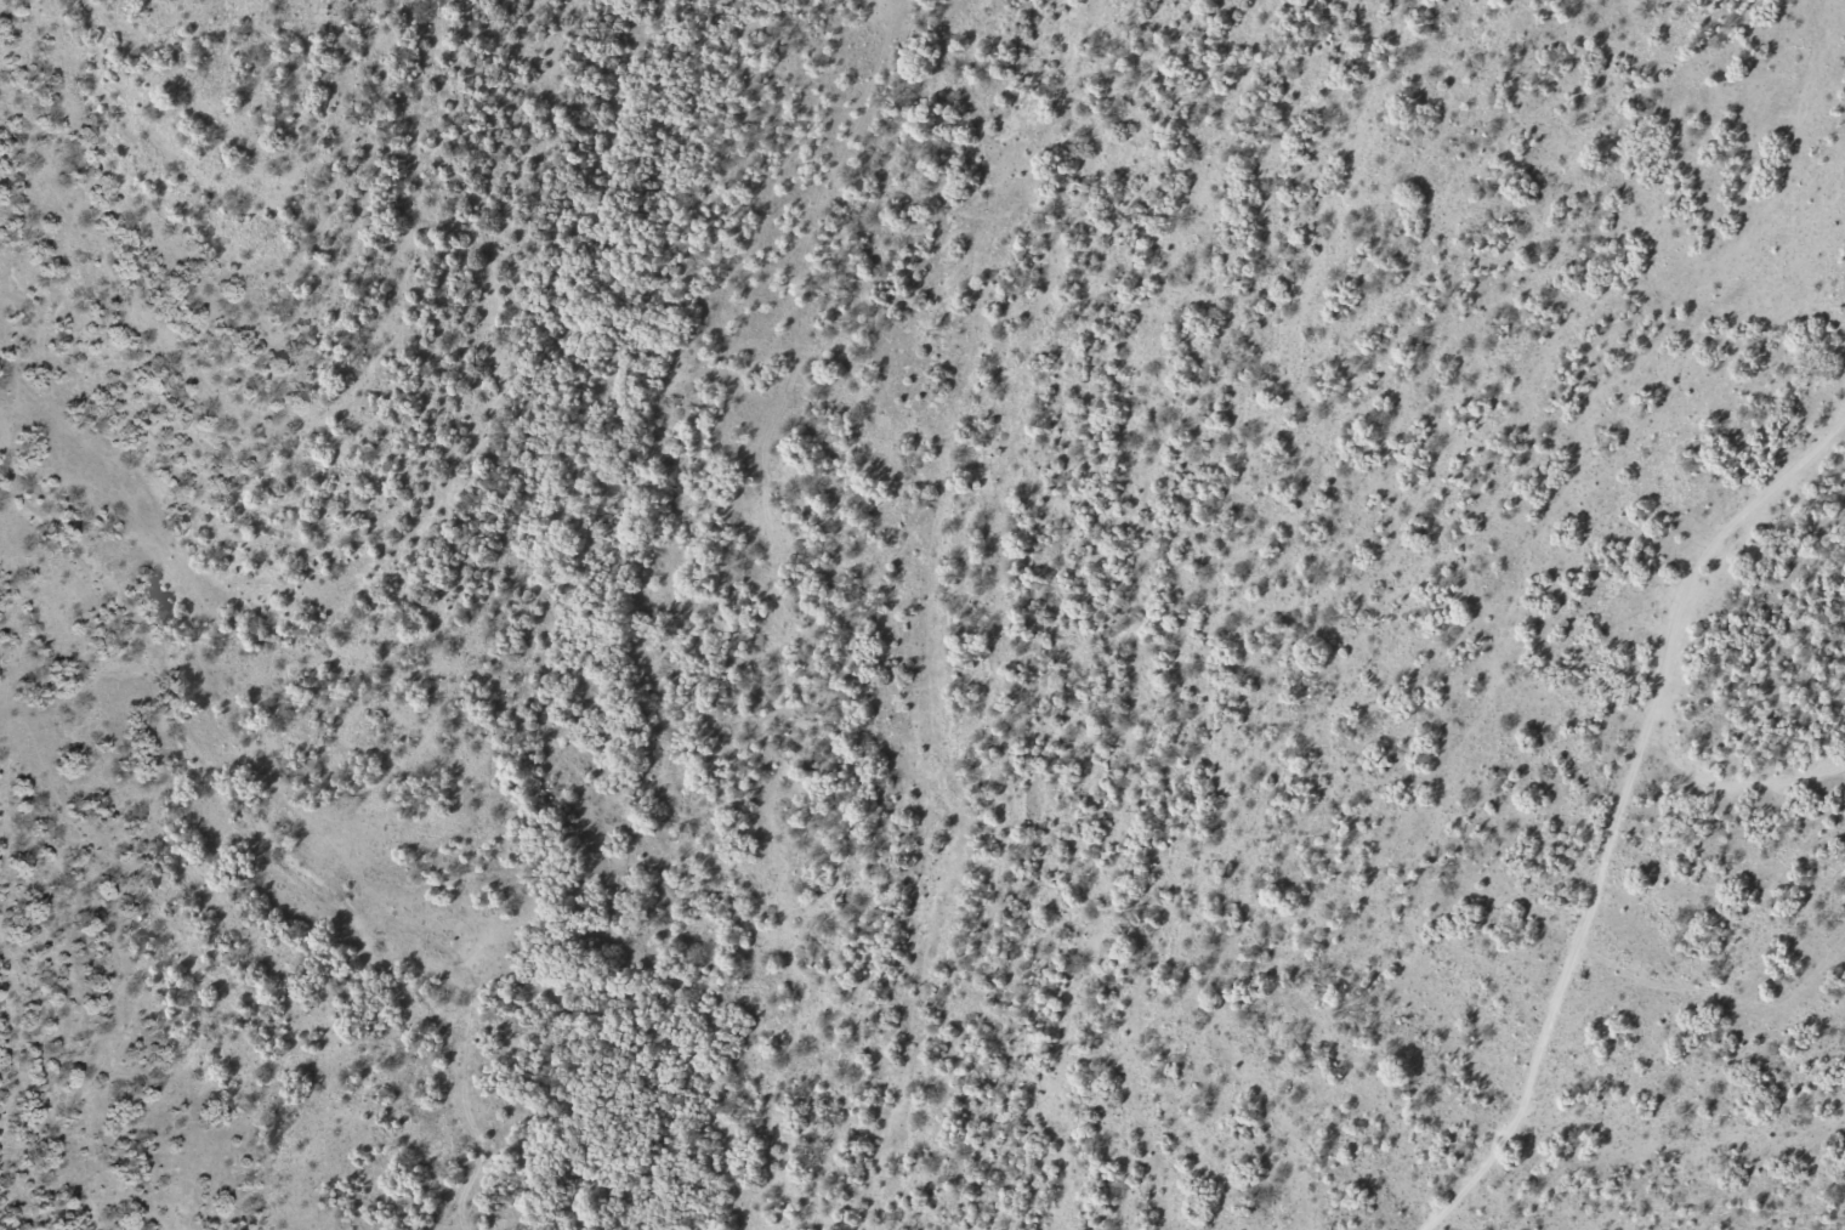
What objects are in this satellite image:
road: (1594, 767)

